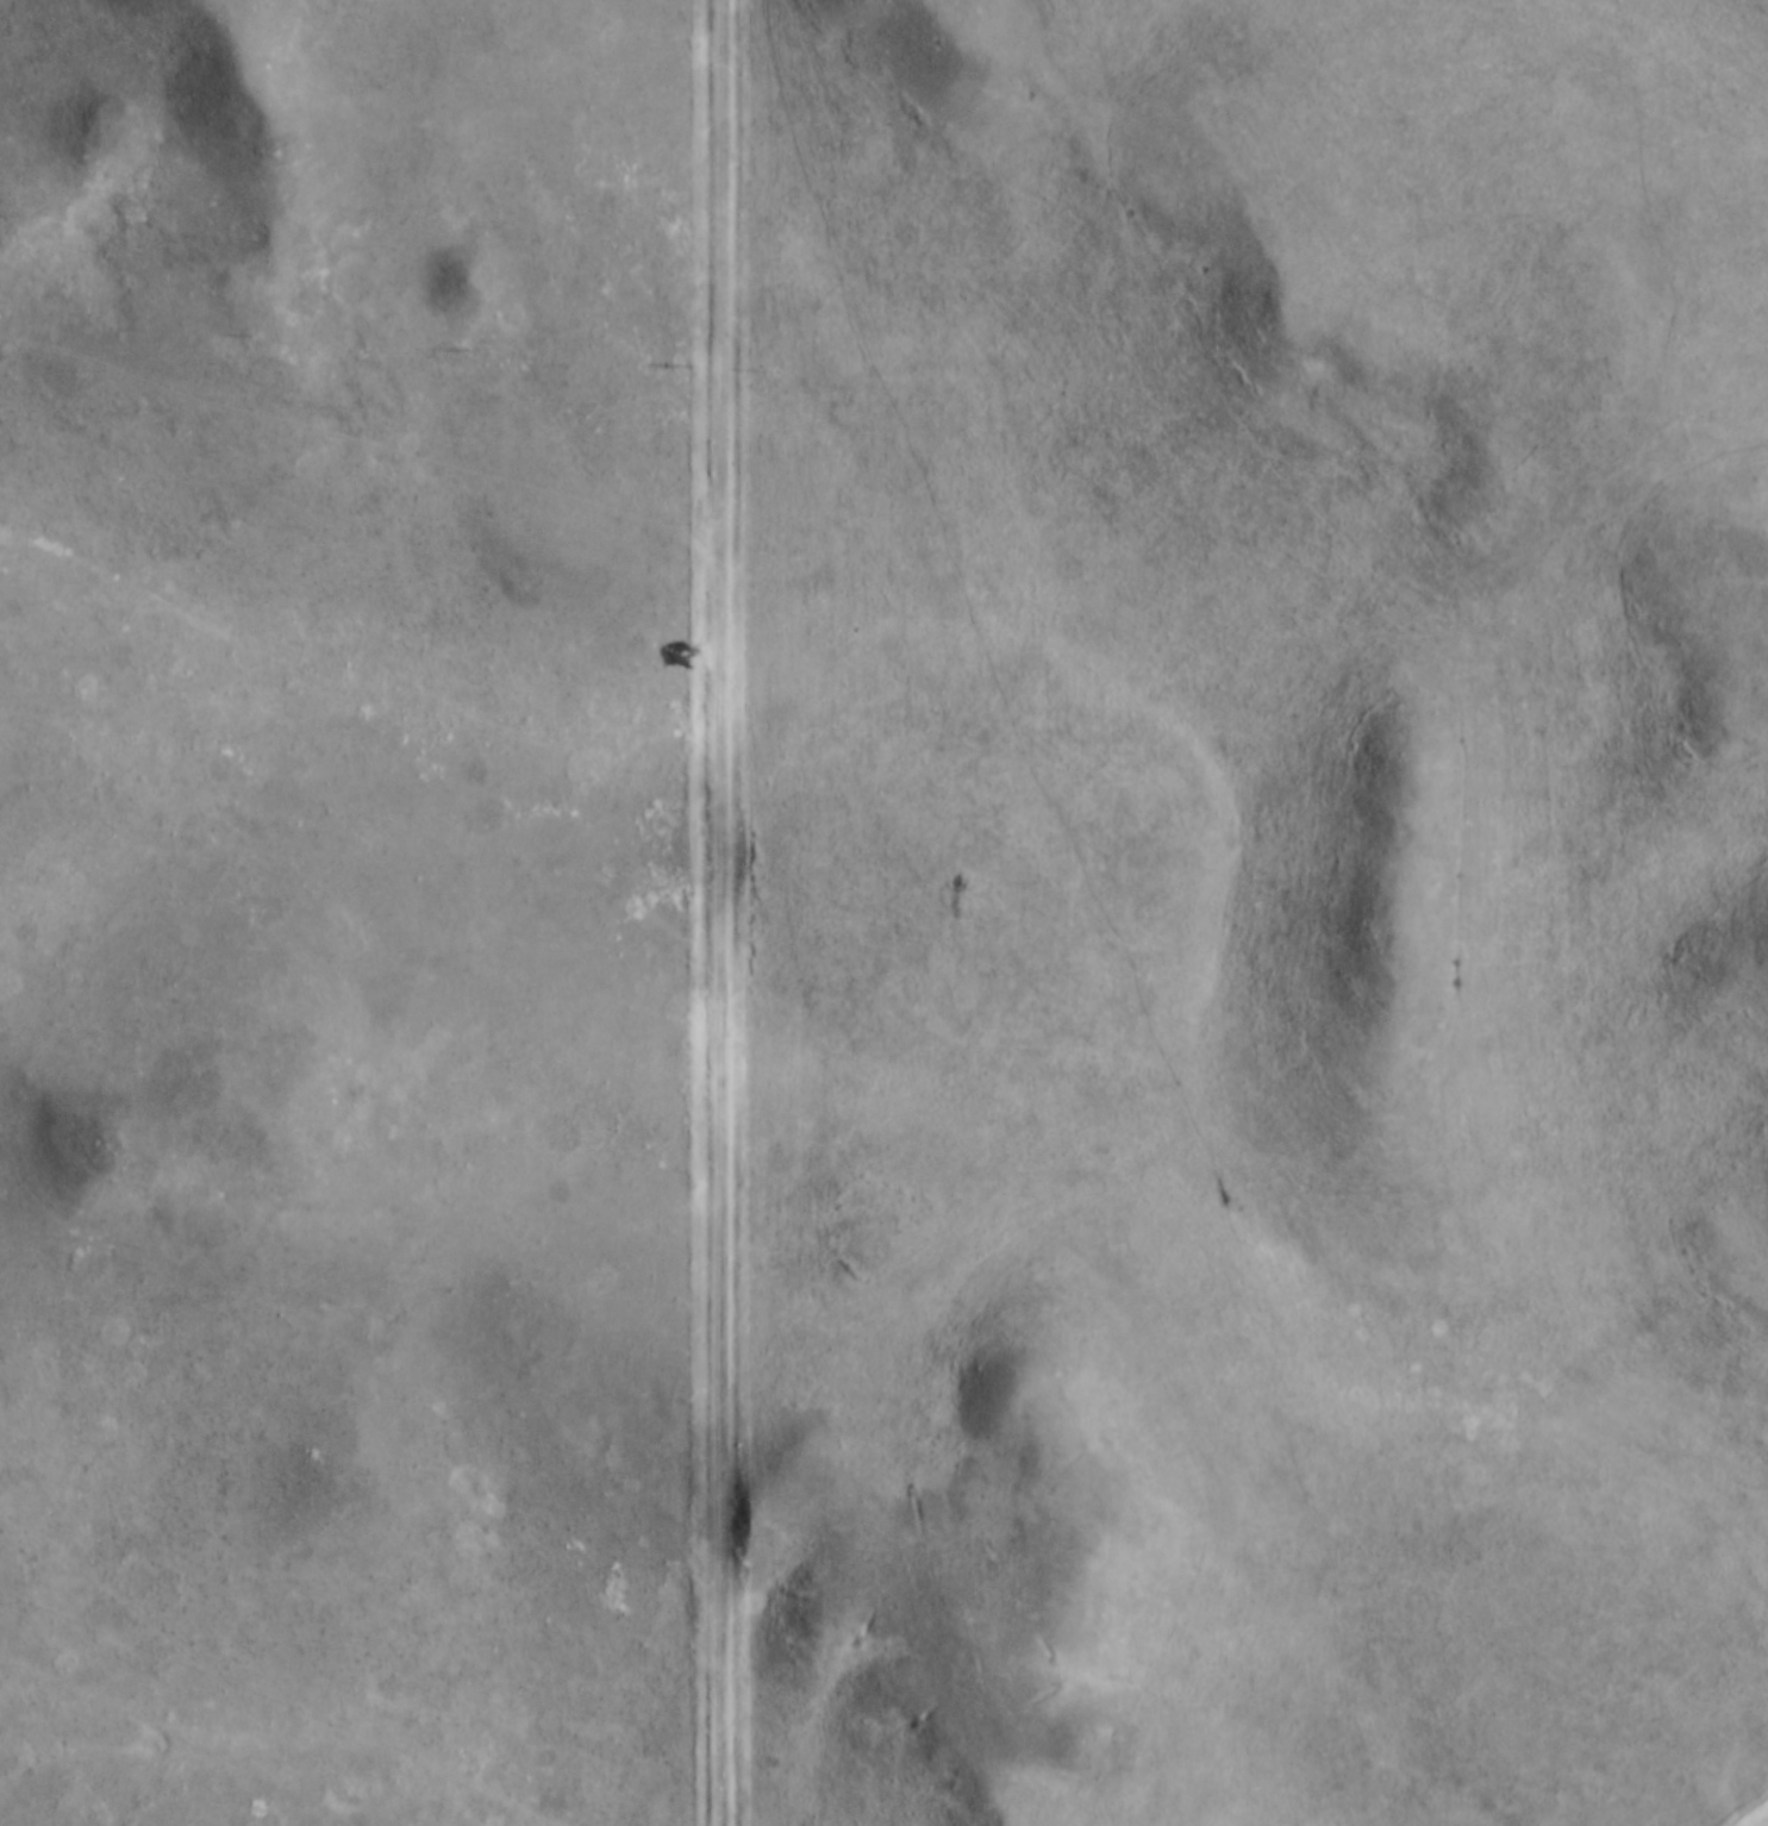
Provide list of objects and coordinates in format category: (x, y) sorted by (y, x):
road: (725, 912)
road: (1247, 1015)

